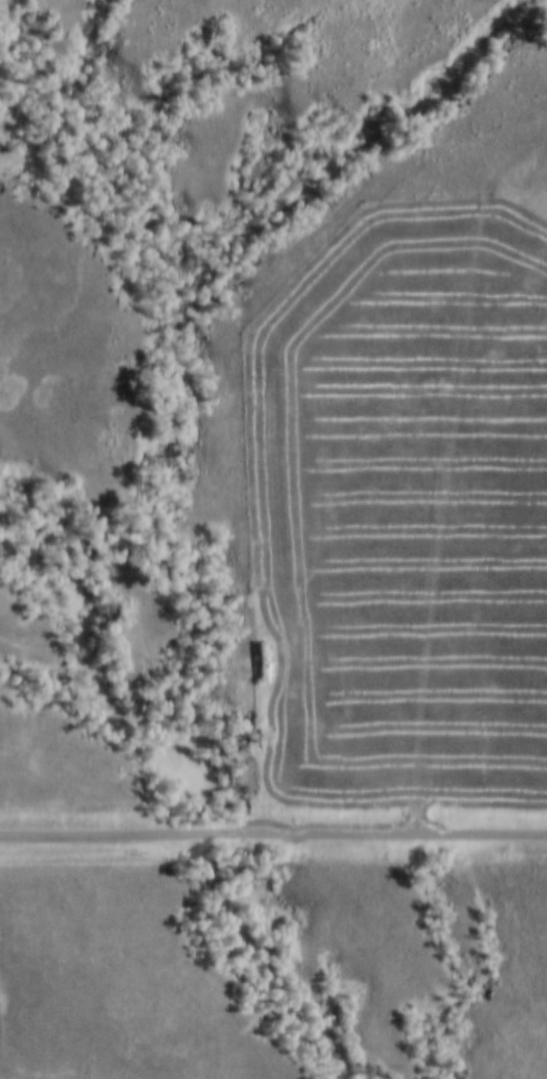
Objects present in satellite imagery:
building: (259, 663)
road: (273, 839)

